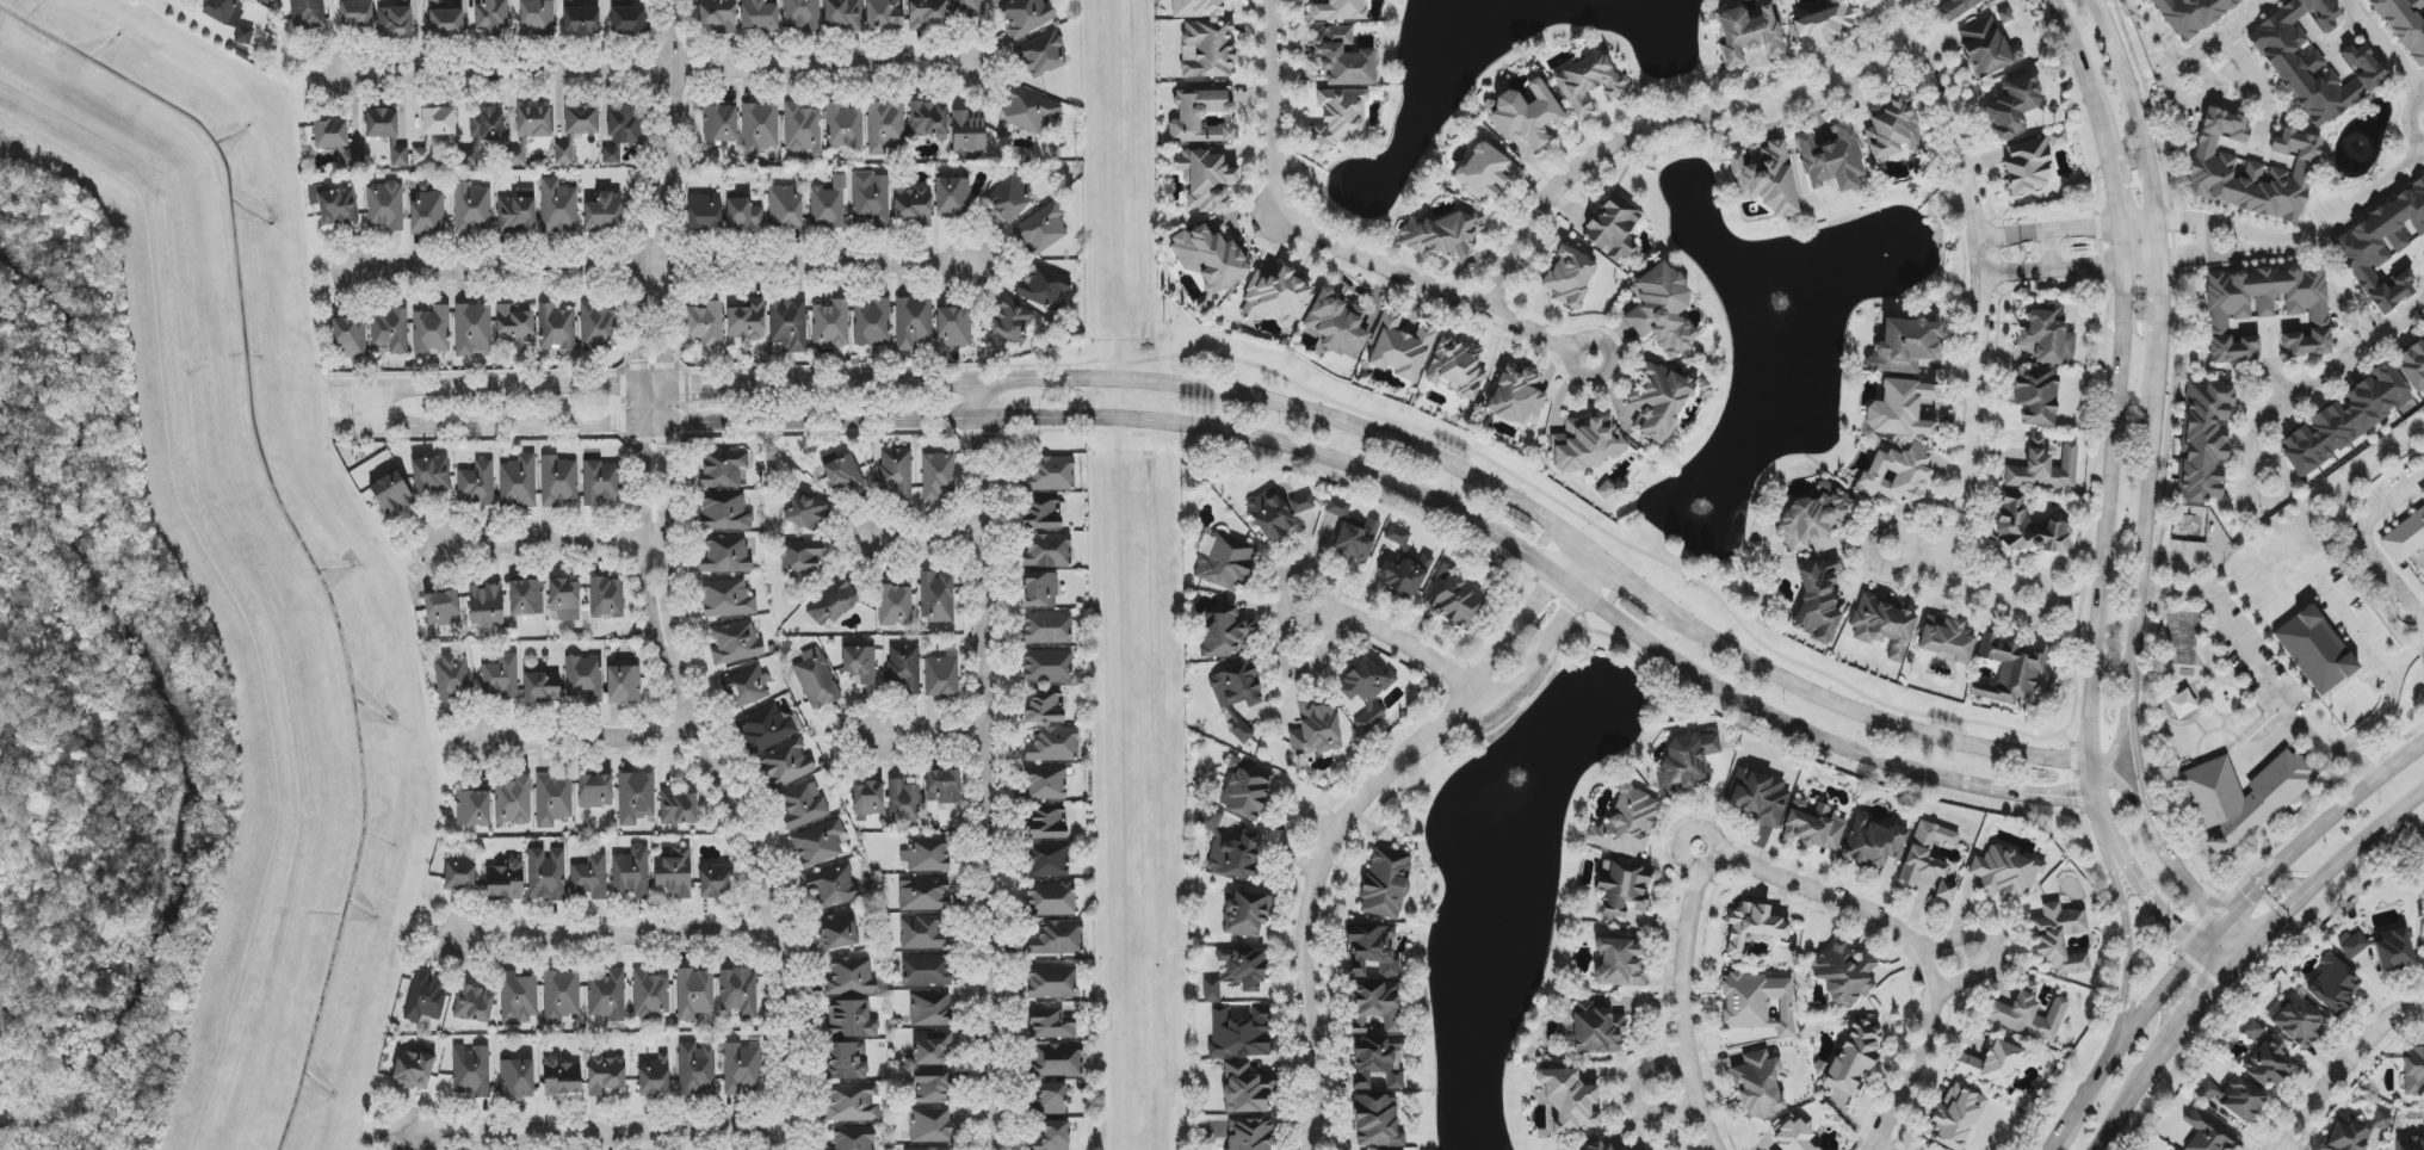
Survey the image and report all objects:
building: (433, 0)
building: (1198, 8)
building: (1956, 8)
building: (967, 10)
building: (1335, 10)
building: (307, 12)
building: (355, 13)
building: (926, 13)
building: (718, 14)
building: (884, 14)
building: (2191, 14)
building: (759, 16)
building: (800, 16)
building: (842, 16)
building: (230, 17)
building: (491, 17)
building: (1025, 17)
building: (537, 18)
building: (626, 19)
building: (581, 21)
building: (1826, 21)
building: (400, 23)
building: (446, 23)
building: (2405, 25)
road: (2228, 27)
building: (1748, 35)
road: (2383, 47)
building: (1987, 48)
building: (1208, 49)
building: (1043, 55)
building: (1341, 57)
building: (2313, 63)
road: (654, 68)
building: (1589, 82)
road: (2259, 86)
road: (2422, 92)
road: (2132, 106)
building: (2012, 107)
building: (1029, 111)
building: (1201, 116)
building: (1523, 116)
building: (1337, 118)
building: (581, 119)
building: (438, 120)
building: (928, 120)
building: (382, 123)
building: (719, 123)
road: (2407, 123)
building: (624, 125)
building: (487, 126)
building: (885, 126)
road: (1656, 126)
building: (760, 128)
building: (843, 128)
building: (802, 129)
building: (1892, 129)
building: (527, 130)
building: (969, 131)
building: (330, 134)
building: (2057, 138)
building: (563, 154)
building: (611, 155)
building: (400, 156)
building: (421, 156)
building: (350, 159)
building: (1831, 160)
building: (2027, 166)
building: (2251, 169)
building: (1485, 172)
building: (1205, 179)
building: (1766, 179)
building: (952, 197)
building: (1009, 197)
building: (870, 199)
building: (333, 205)
building: (828, 205)
building: (913, 205)
building: (384, 206)
building: (471, 208)
building: (558, 208)
building: (785, 209)
building: (518, 211)
building: (604, 211)
building: (427, 212)
building: (705, 212)
road: (2343, 214)
building: (743, 215)
road: (2195, 224)
road: (2067, 227)
building: (1612, 228)
building: (1041, 229)
building: (1442, 234)
road: (2243, 236)
road: (2203, 239)
road: (1331, 243)
road: (2244, 246)
building: (2382, 247)
building: (2423, 252)
road: (2196, 253)
building: (1207, 255)
road: (664, 265)
road: (2067, 266)
road: (1979, 276)
building: (1567, 277)
building: (1044, 287)
fountain: (1781, 304)
road: (2156, 307)
building: (1662, 309)
building: (2268, 309)
building: (747, 321)
building: (1010, 321)
building: (706, 323)
building: (872, 323)
building: (913, 323)
building: (789, 324)
building: (830, 324)
building: (1336, 324)
building: (514, 326)
building: (596, 326)
building: (556, 328)
building: (954, 328)
building: (472, 329)
building: (390, 330)
building: (432, 330)
building: (2047, 335)
building: (350, 338)
building: (1904, 345)
building: (1399, 347)
building: (2412, 364)
building: (1455, 367)
road: (2314, 381)
road: (354, 389)
building: (1517, 396)
building: (2036, 397)
building: (1658, 401)
road: (373, 407)
building: (1900, 409)
road: (1318, 412)
road: (678, 414)
building: (2344, 420)
road: (354, 425)
building: (2205, 440)
building: (1588, 443)
building: (2017, 457)
building: (722, 469)
building: (2045, 469)
building: (841, 472)
building: (896, 472)
building: (429, 474)
building: (1049, 474)
building: (1896, 474)
building: (938, 476)
building: (558, 481)
building: (601, 482)
building: (518, 483)
building: (476, 484)
building: (2422, 487)
building: (1606, 490)
building: (391, 494)
building: (2422, 495)
road: (2109, 503)
building: (1337, 508)
building: (808, 509)
fountain: (1702, 509)
building: (725, 512)
building: (1279, 512)
building: (1041, 513)
building: (1814, 518)
building: (2029, 527)
road: (926, 533)
building: (1398, 534)
building: (2407, 536)
building: (1355, 539)
road: (554, 543)
road: (2368, 544)
building: (1046, 551)
road: (2145, 551)
building: (726, 555)
building: (802, 558)
building: (1225, 562)
building: (1404, 574)
road: (1317, 576)
road: (1955, 580)
road: (669, 585)
building: (1040, 589)
building: (936, 596)
building: (526, 598)
building: (606, 598)
building: (1453, 598)
road: (1583, 598)
building: (564, 599)
building: (728, 599)
building: (1817, 601)
building: (834, 602)
building: (486, 605)
building: (896, 606)
building: (441, 608)
road: (1522, 619)
building: (1884, 625)
building: (1047, 629)
building: (1224, 631)
road: (2360, 633)
road: (1548, 638)
building: (1946, 641)
building: (736, 643)
building: (2313, 650)
road: (2253, 661)
building: (859, 664)
building: (1047, 667)
building: (904, 668)
building: (2010, 672)
building: (452, 676)
building: (942, 676)
building: (501, 678)
building: (583, 678)
building: (816, 680)
building: (623, 685)
building: (542, 687)
building: (746, 687)
building: (1365, 693)
building: (1236, 697)
building: (1045, 706)
road: (2382, 715)
building: (767, 728)
building: (1315, 729)
road: (590, 735)
road: (927, 737)
road: (2272, 738)
building: (1053, 744)
building: (1686, 762)
road: (989, 763)
building: (785, 765)
road: (2139, 767)
fountain: (1517, 780)
building: (1046, 783)
building: (942, 790)
building: (1245, 790)
building: (594, 791)
road: (2357, 795)
building: (1757, 797)
building: (2239, 797)
building: (636, 798)
building: (554, 799)
building: (867, 799)
building: (514, 802)
road: (2065, 802)
building: (904, 804)
building: (802, 805)
building: (472, 808)
building: (679, 808)
building: (1047, 823)
building: (1627, 823)
building: (1813, 826)
building: (1873, 842)
road: (2165, 848)
building: (1229, 851)
building: (926, 855)
building: (1049, 860)
building: (1929, 860)
road: (2337, 861)
building: (2006, 870)
building: (459, 873)
building: (631, 873)
building: (546, 874)
building: (673, 874)
building: (590, 878)
building: (506, 880)
building: (715, 880)
building: (1385, 883)
road: (2262, 884)
building: (833, 888)
road: (1313, 889)
building: (1622, 889)
road: (2202, 892)
road: (1824, 894)
building: (925, 895)
building: (1051, 899)
building: (1243, 913)
traffic signals: (2226, 917)
building: (1751, 927)
road: (2241, 929)
building: (840, 930)
building: (923, 933)
road: (620, 936)
building: (1058, 939)
building: (2059, 939)
traffic signals: (2257, 942)
building: (2352, 945)
road: (1996, 947)
traffic signals: (2200, 948)
road: (2127, 950)
building: (2393, 951)
building: (1372, 952)
road: (2243, 956)
building: (1619, 963)
traffic signals: (2228, 970)
building: (927, 971)
building: (1237, 972)
building: (1844, 973)
building: (852, 976)
building: (1052, 982)
building: (2332, 987)
building: (738, 993)
building: (607, 994)
building: (650, 994)
building: (694, 994)
building: (561, 996)
building: (425, 997)
building: (519, 997)
road: (1681, 1000)
building: (1758, 1003)
building: (474, 1004)
building: (930, 1009)
road: (2194, 1012)
building: (2029, 1014)
building: (851, 1020)
building: (2296, 1020)
building: (1050, 1024)
building: (1596, 1027)
road: (2132, 1028)
building: (2252, 1031)
building: (1239, 1033)
building: (932, 1047)
building: (1853, 1057)
building: (1057, 1059)
building: (848, 1061)
building: (1993, 1063)
road: (1911, 1064)
building: (2268, 1064)
road: (2343, 1066)
building: (741, 1068)
building: (414, 1069)
building: (695, 1069)
building: (2413, 1070)
building: (472, 1071)
building: (605, 1075)
building: (654, 1076)
building: (517, 1077)
building: (561, 1078)
building: (1757, 1084)
building: (932, 1086)
building: (1245, 1089)
road: (1634, 1098)
building: (2233, 1098)
building: (1050, 1099)
road: (2129, 1102)
building: (853, 1103)
building: (1569, 1103)
building: (1956, 1117)
building: (1375, 1121)
building: (2381, 1121)
building: (930, 1125)
building: (2207, 1132)
road: (604, 1133)
building: (1248, 1133)
building: (1792, 1134)
building: (1052, 1136)
building: (2348, 1136)
building: (852, 1138)
building: (2410, 1144)
building: (1599, 1145)
road: (1881, 1146)
building: (928, 1149)

